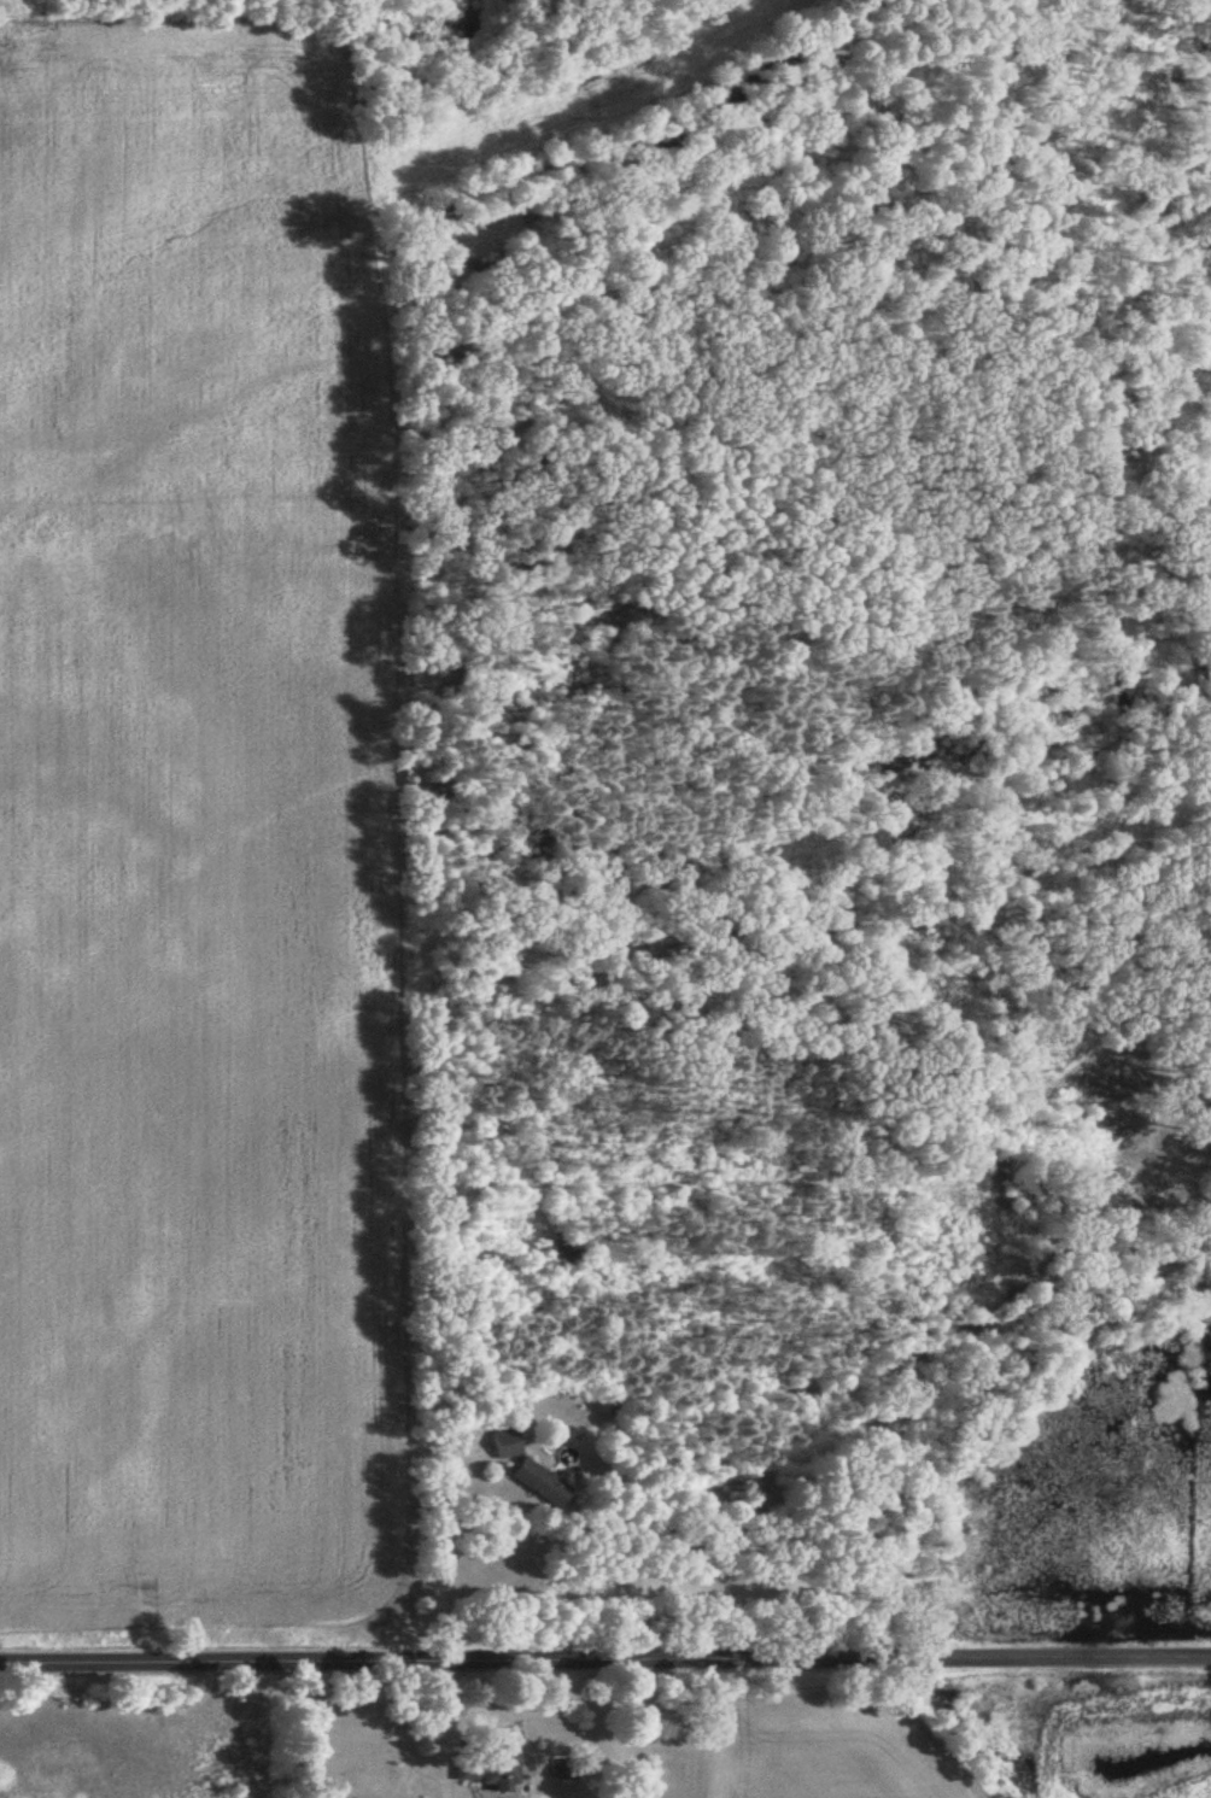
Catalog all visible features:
building: (542, 1482)
road: (435, 1545)
road: (604, 1656)
road: (406, 1728)
building: (489, 1759)

